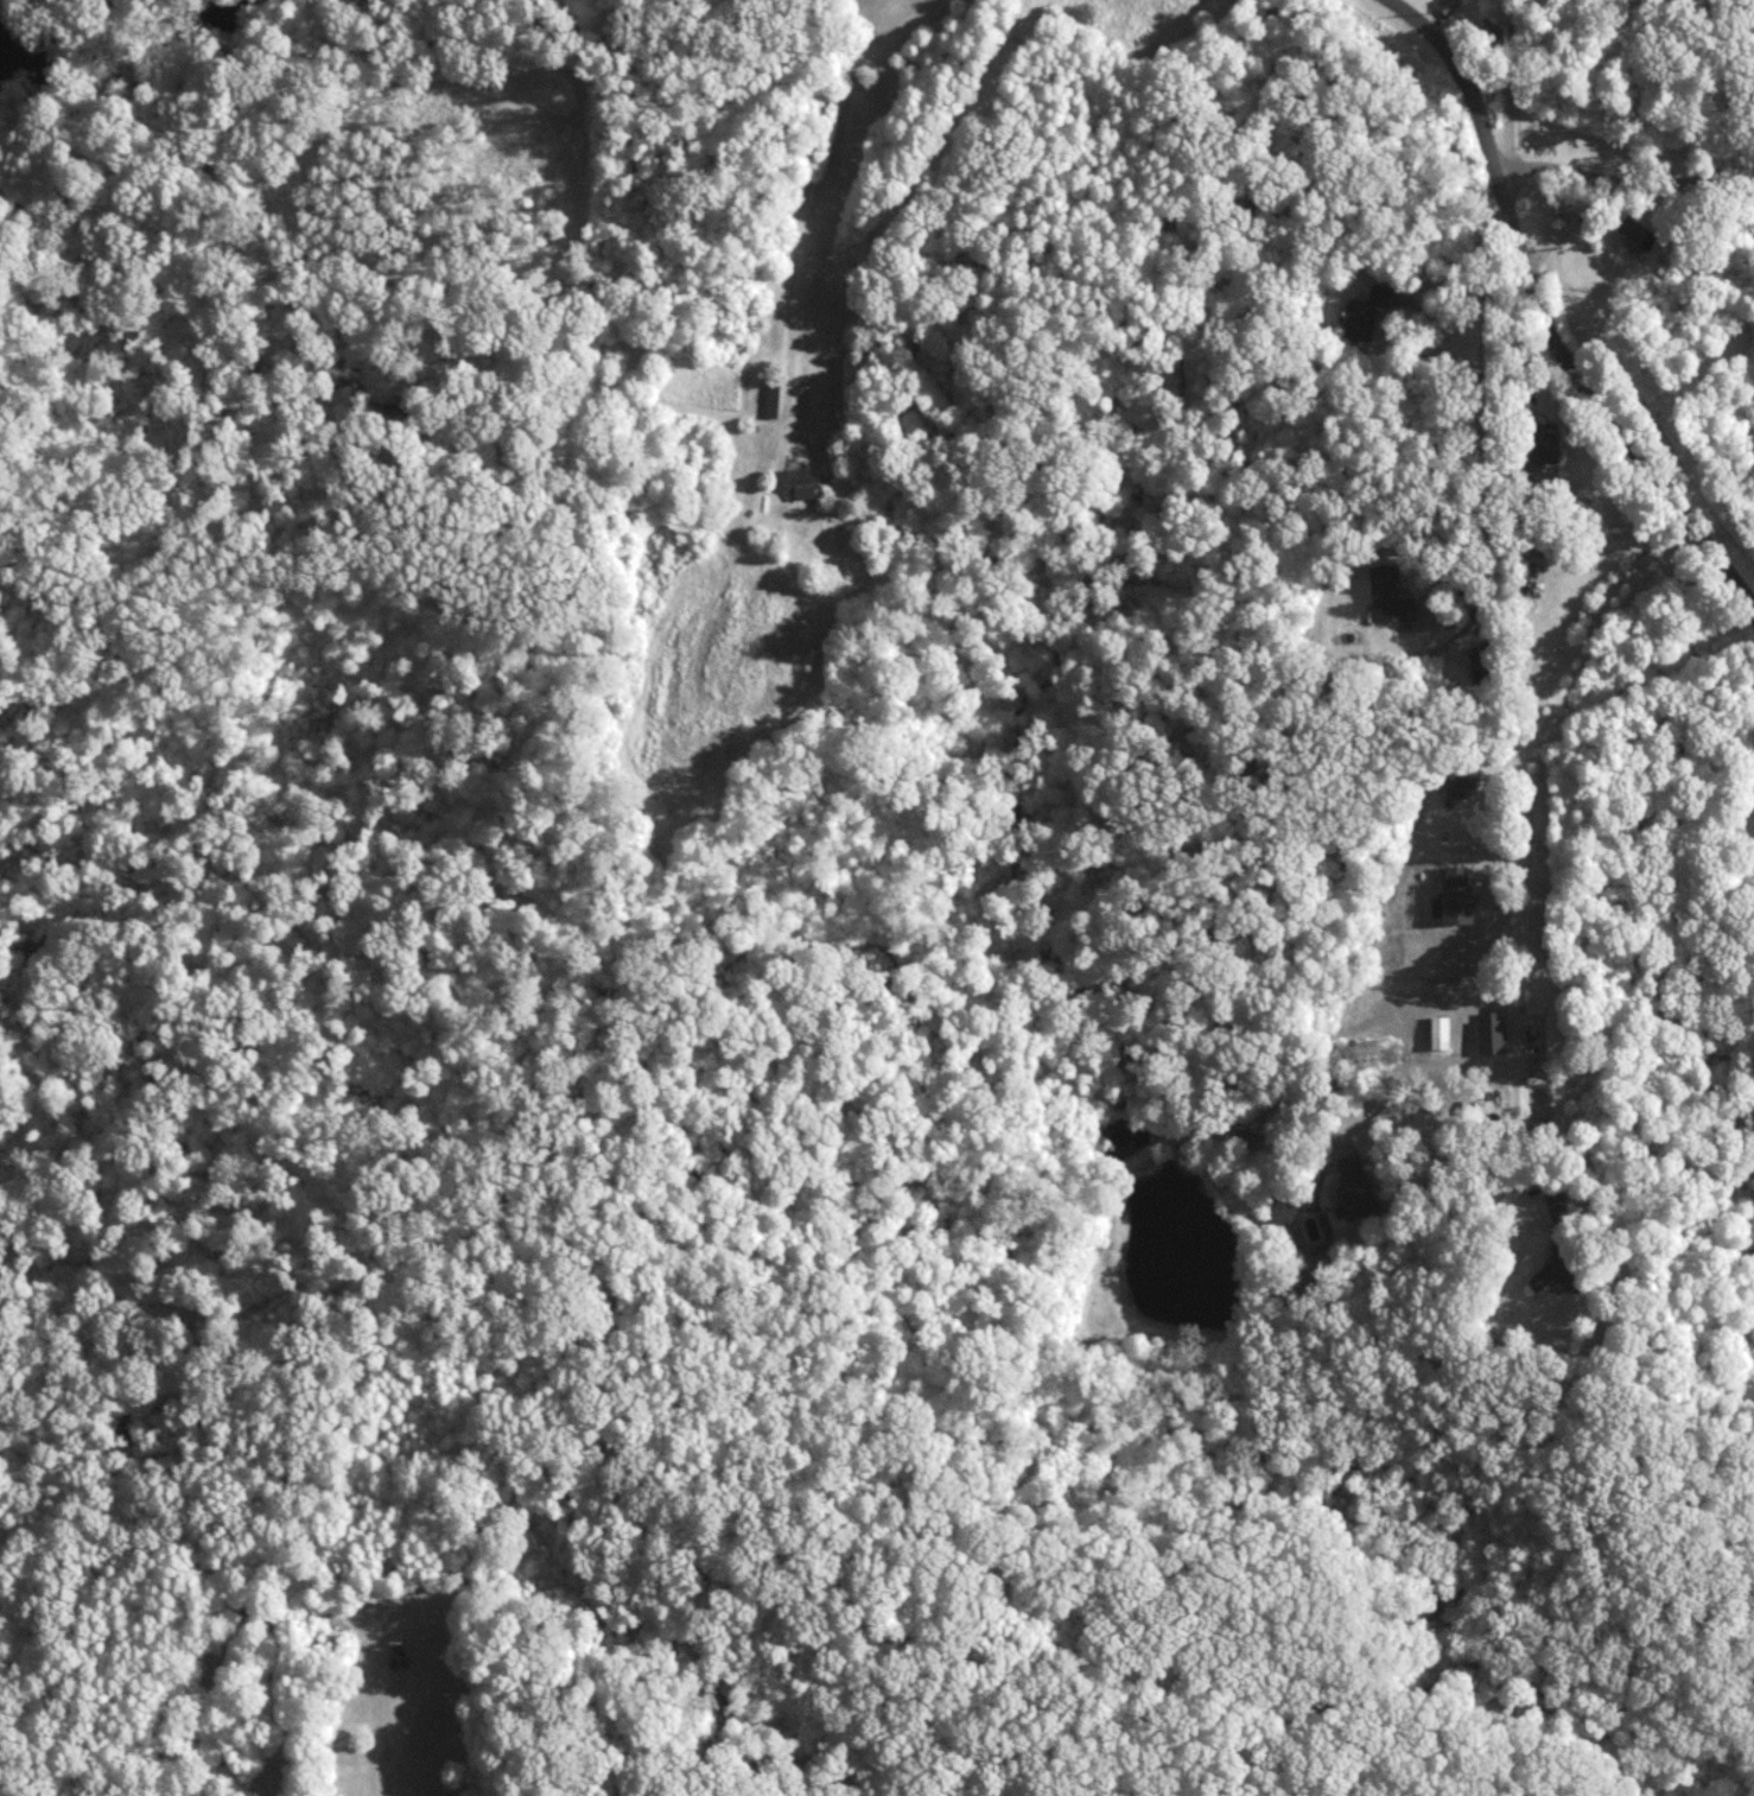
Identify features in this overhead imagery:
building: (1448, 5)
road: (1511, 84)
road: (819, 180)
road: (1622, 184)
building: (1637, 230)
road: (1553, 298)
building: (1364, 311)
road: (1487, 414)
building: (1545, 442)
building: (802, 481)
building: (1390, 592)
building: (1461, 776)
road: (1498, 831)
building: (1459, 895)
road: (1466, 1029)
building: (1440, 1030)
building: (1491, 1035)
road: (1396, 1080)
building: (1355, 1187)
building: (1555, 1189)
building: (1548, 1271)

